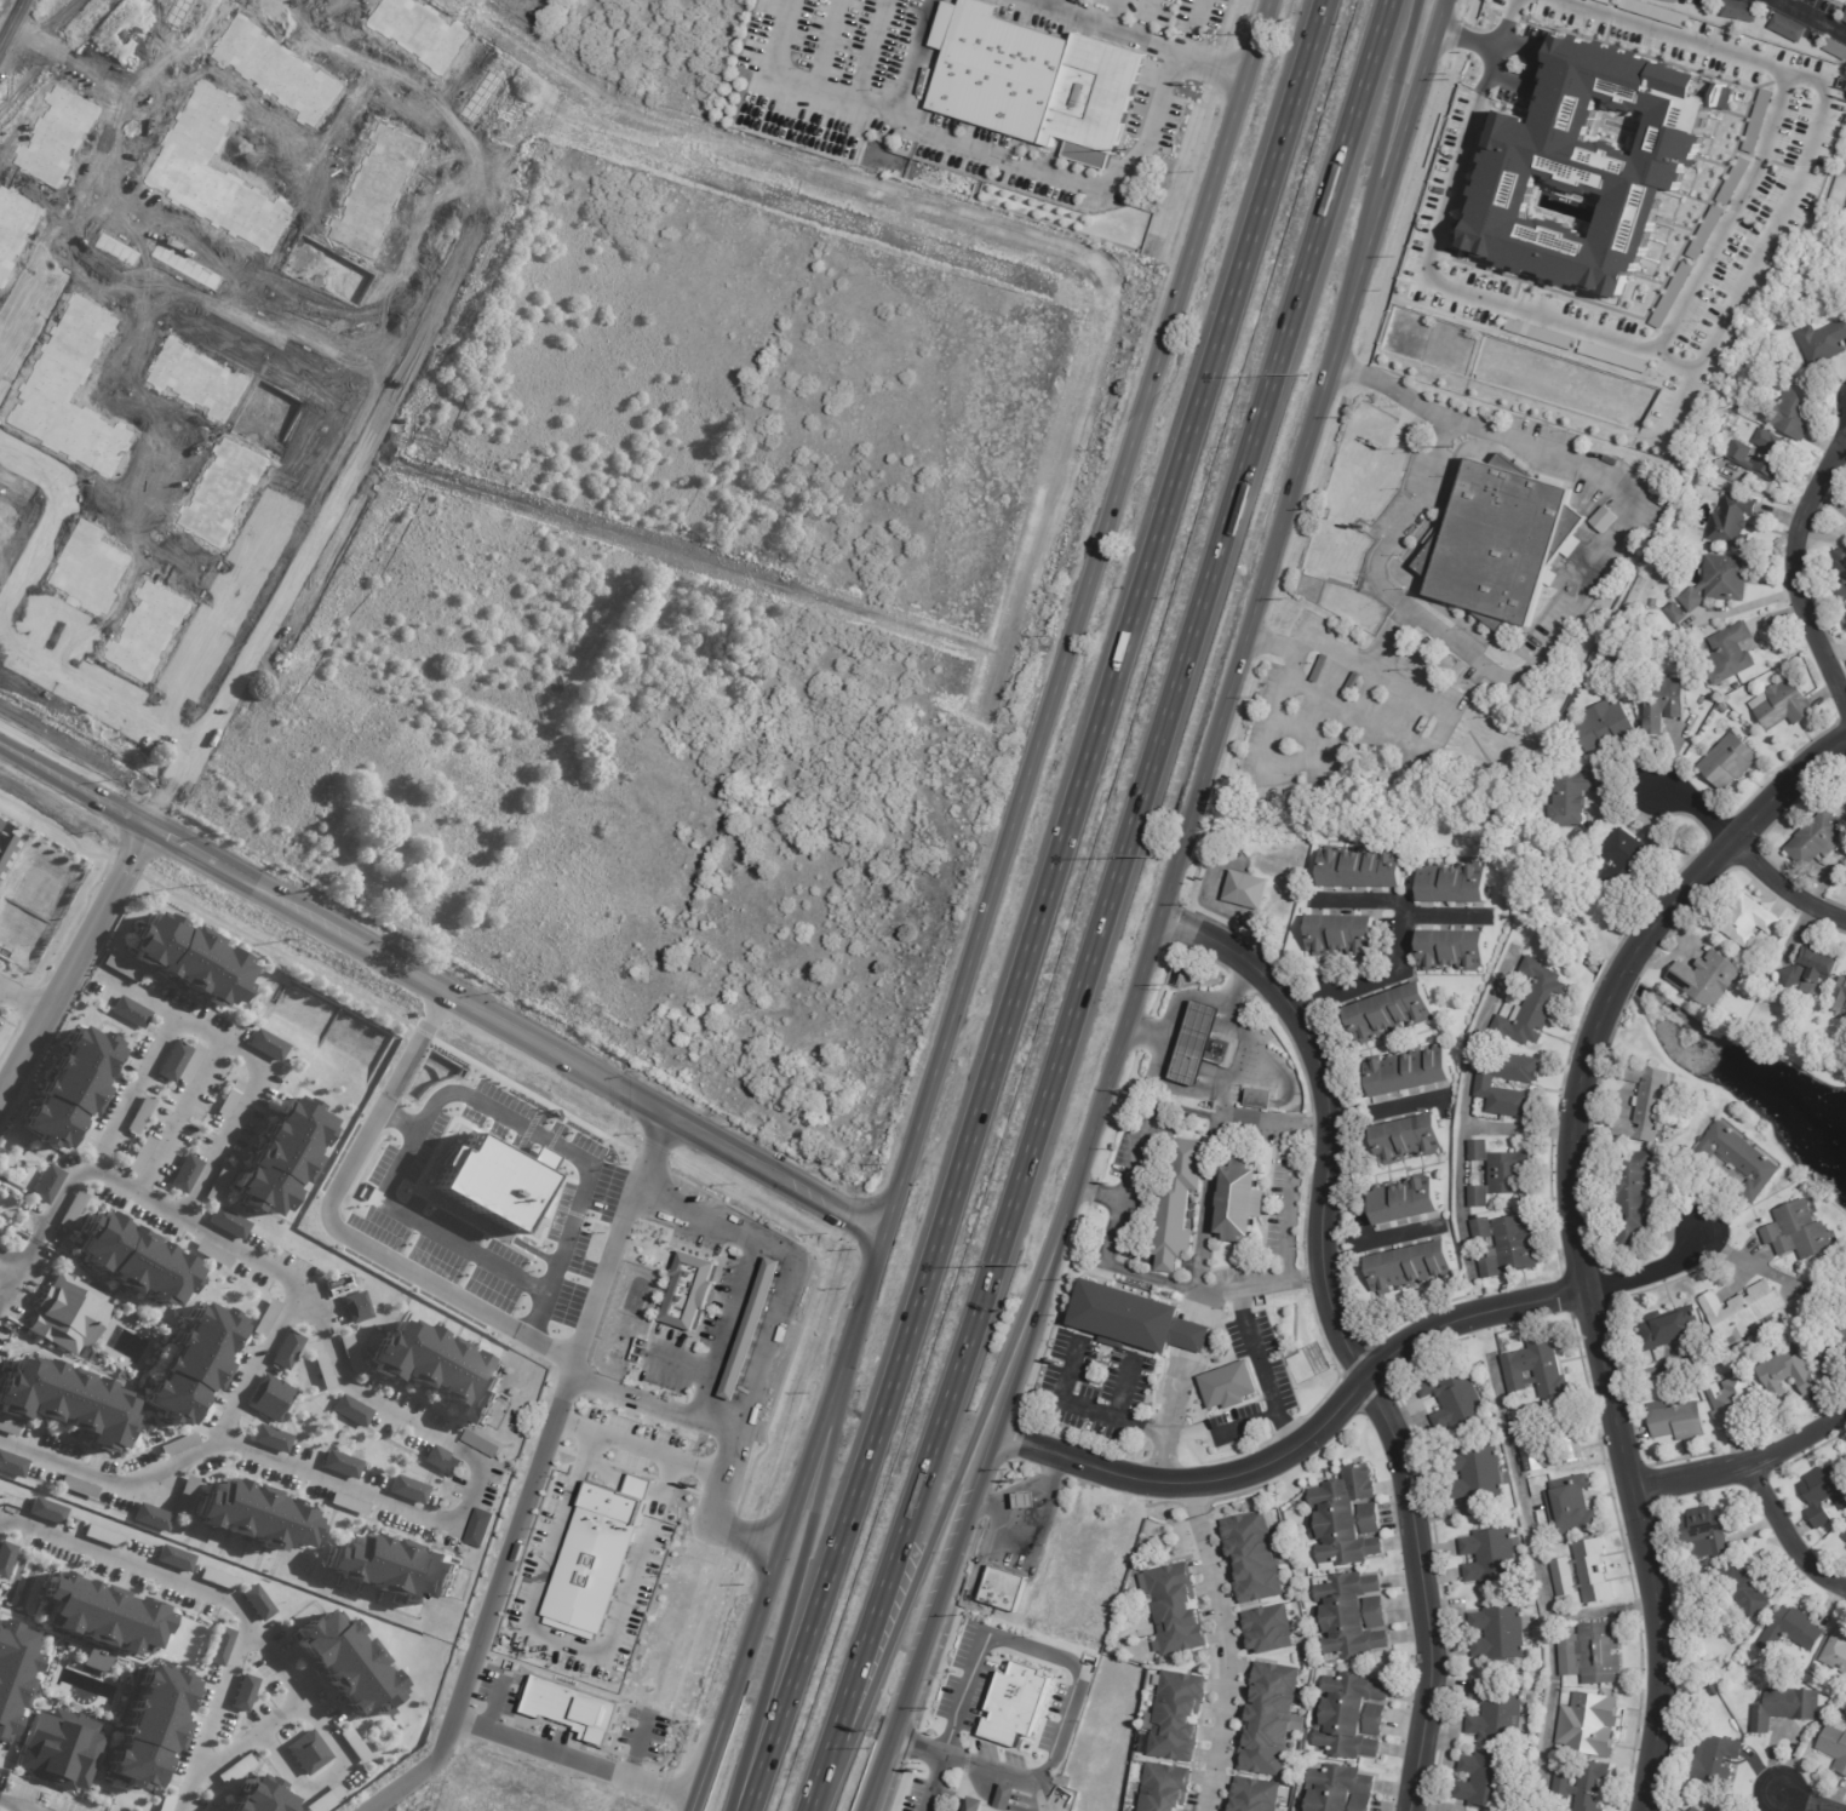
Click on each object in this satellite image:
building: (1670, 0)
building: (1605, 1)
building: (1736, 11)
building: (1655, 12)
road: (1507, 17)
road: (1807, 17)
building: (1844, 17)
road: (1110, 25)
road: (33, 27)
building: (1784, 27)
road: (1192, 28)
road: (1472, 39)
building: (1834, 48)
road: (1491, 61)
parking lot: (1525, 65)
road: (1215, 67)
road: (1530, 69)
building: (1034, 79)
building: (1756, 121)
park: (1619, 127)
road: (1374, 162)
road: (1013, 164)
building: (1593, 170)
road: (102, 177)
building: (1732, 182)
road: (1770, 231)
building: (1704, 233)
road: (230, 270)
building: (1670, 296)
road: (1680, 308)
road: (203, 319)
building: (1541, 334)
building: (1824, 343)
building: (1613, 357)
road: (402, 378)
building: (1741, 402)
building: (1794, 412)
road: (320, 435)
building: (1765, 455)
parking lot: (1414, 497)
building: (1603, 520)
building: (1736, 521)
road: (48, 523)
building: (1498, 540)
road: (1804, 569)
building: (1839, 574)
building: (1722, 581)
building: (1626, 611)
building: (1678, 613)
road: (1076, 615)
parking lot: (1549, 630)
road: (1330, 647)
building: (1733, 653)
building: (1616, 657)
road: (1492, 672)
building: (1738, 686)
road: (99, 694)
building: (1730, 699)
road: (1337, 703)
building: (1667, 704)
building: (1784, 704)
parking lot: (1341, 711)
building: (1606, 728)
road: (1358, 738)
building: (1732, 762)
building: (1575, 797)
building: (1813, 839)
building: (6, 843)
road: (1755, 860)
building: (1629, 862)
building: (1364, 869)
building: (1455, 884)
building: (1249, 892)
road: (1039, 907)
road: (1102, 907)
road: (1169, 909)
road: (1438, 916)
building: (1743, 922)
building: (1343, 936)
building: (1454, 951)
road: (1398, 953)
building: (188, 962)
building: (120, 967)
road: (74, 972)
building: (1807, 973)
building: (1175, 974)
building: (1705, 979)
road: (440, 988)
road: (139, 996)
road: (1187, 998)
building: (1836, 998)
road: (25, 1002)
building: (1536, 1005)
building: (128, 1011)
building: (1394, 1013)
road: (217, 1039)
building: (1198, 1043)
building: (265, 1044)
gas station: (1202, 1045)
building: (173, 1059)
building: (190, 1065)
building: (1410, 1071)
building: (1487, 1087)
building: (69, 1090)
building: (228, 1099)
building: (1262, 1101)
building: (1640, 1104)
road: (1382, 1108)
road: (1463, 1108)
road: (1169, 1110)
building: (138, 1114)
road: (176, 1117)
road: (1518, 1129)
building: (1408, 1140)
building: (139, 1154)
building: (538, 1156)
building: (282, 1159)
building: (1736, 1159)
building: (183, 1173)
building: (1502, 1174)
building: (487, 1179)
building: (217, 1184)
building: (46, 1186)
building: (1628, 1193)
building: (1240, 1202)
building: (1409, 1202)
parking lot: (401, 1204)
road: (1205, 1204)
road: (1291, 1204)
building: (1181, 1208)
building: (70, 1210)
building: (227, 1222)
road: (1578, 1232)
building: (1795, 1232)
road: (617, 1237)
parking lot: (695, 1240)
building: (1509, 1247)
road: (18, 1254)
building: (211, 1254)
building: (138, 1261)
road: (751, 1267)
building: (1411, 1268)
road: (17, 1273)
road: (558, 1277)
road: (1177, 1286)
building: (689, 1291)
parking lot: (718, 1301)
road: (0, 1303)
road: (0, 1307)
building: (356, 1307)
building: (1741, 1309)
building: (65, 1313)
building: (264, 1318)
road: (276, 1322)
building: (1136, 1322)
building: (1667, 1328)
building: (751, 1329)
gas station: (751, 1329)
road: (764, 1334)
road: (1345, 1335)
building: (1830, 1348)
building: (286, 1351)
building: (349, 1353)
road: (556, 1353)
building: (196, 1360)
parking lot: (665, 1363)
road: (688, 1363)
building: (1538, 1368)
building: (438, 1369)
road: (1260, 1370)
building: (322, 1371)
building: (1783, 1374)
building: (1646, 1386)
building: (1232, 1387)
road: (1122, 1391)
road: (1351, 1393)
building: (269, 1398)
building: (61, 1399)
building: (1456, 1400)
building: (1729, 1400)
road: (1085, 1409)
building: (350, 1411)
building: (1675, 1420)
road: (1249, 1422)
building: (145, 1425)
building: (7, 1427)
road: (1166, 1427)
road: (717, 1428)
building: (1550, 1435)
building: (270, 1438)
parking lot: (638, 1442)
building: (176, 1444)
building: (481, 1444)
road: (637, 1448)
building: (442, 1460)
building: (11, 1463)
building: (340, 1463)
road: (1744, 1466)
building: (1481, 1474)
building: (78, 1488)
building: (406, 1489)
road: (1022, 1489)
road: (470, 1490)
building: (184, 1495)
building: (1821, 1495)
road: (945, 1498)
building: (1025, 1500)
gas station: (1025, 1500)
building: (349, 1505)
building: (1572, 1506)
building: (46, 1512)
building: (151, 1517)
building: (257, 1517)
building: (1349, 1518)
road: (793, 1523)
building: (478, 1529)
building: (1703, 1532)
building: (102, 1535)
road: (1789, 1535)
building: (1844, 1537)
building: (5, 1557)
building: (596, 1557)
building: (1495, 1557)
building: (173, 1558)
building: (1255, 1558)
building: (391, 1570)
building: (1586, 1574)
building: (218, 1578)
road: (1541, 1581)
building: (1002, 1589)
building: (1738, 1589)
building: (256, 1603)
road: (781, 1609)
building: (1179, 1610)
building: (104, 1615)
road: (1603, 1615)
building: (1354, 1616)
building: (1271, 1629)
building: (1789, 1632)
building: (1502, 1633)
road: (567, 1643)
road: (1223, 1646)
building: (218, 1647)
road: (1033, 1649)
building: (1835, 1652)
building: (1594, 1654)
building: (94, 1660)
building: (344, 1660)
building: (1813, 1668)
building: (13, 1670)
fountain: (86, 1670)
fountain: (90, 1672)
fountain: (94, 1673)
road: (285, 1680)
parking lot: (500, 1690)
fountain: (75, 1691)
fountain: (75, 1693)
building: (242, 1695)
fountain: (78, 1696)
fountain: (88, 1696)
fountain: (87, 1697)
fountain: (85, 1698)
road: (217, 1700)
building: (1015, 1704)
road: (494, 1707)
building: (573, 1708)
building: (1783, 1708)
road: (281, 1714)
building: (1498, 1714)
building: (1181, 1717)
building: (1354, 1717)
building: (1269, 1719)
road: (469, 1724)
building: (1590, 1724)
building: (149, 1726)
parking lot: (643, 1732)
parking lot: (556, 1736)
building: (354, 1744)
road: (637, 1747)
building: (1834, 1747)
building: (59, 1749)
building: (306, 1752)
building: (1712, 1759)
road: (974, 1765)
road: (591, 1766)
building: (234, 1769)
building: (1487, 1781)
road: (931, 1782)
road: (982, 1783)
building: (1583, 1787)
building: (1169, 1788)
building: (1342, 1789)
building: (1257, 1795)
building: (257, 1798)
building: (323, 1799)
road: (1005, 1799)
building: (997, 1800)
building: (166, 1801)
road: (1808, 1801)
road: (17, 1804)
road: (1021, 1806)
road: (23, 1809)
building: (1693, 1810)

